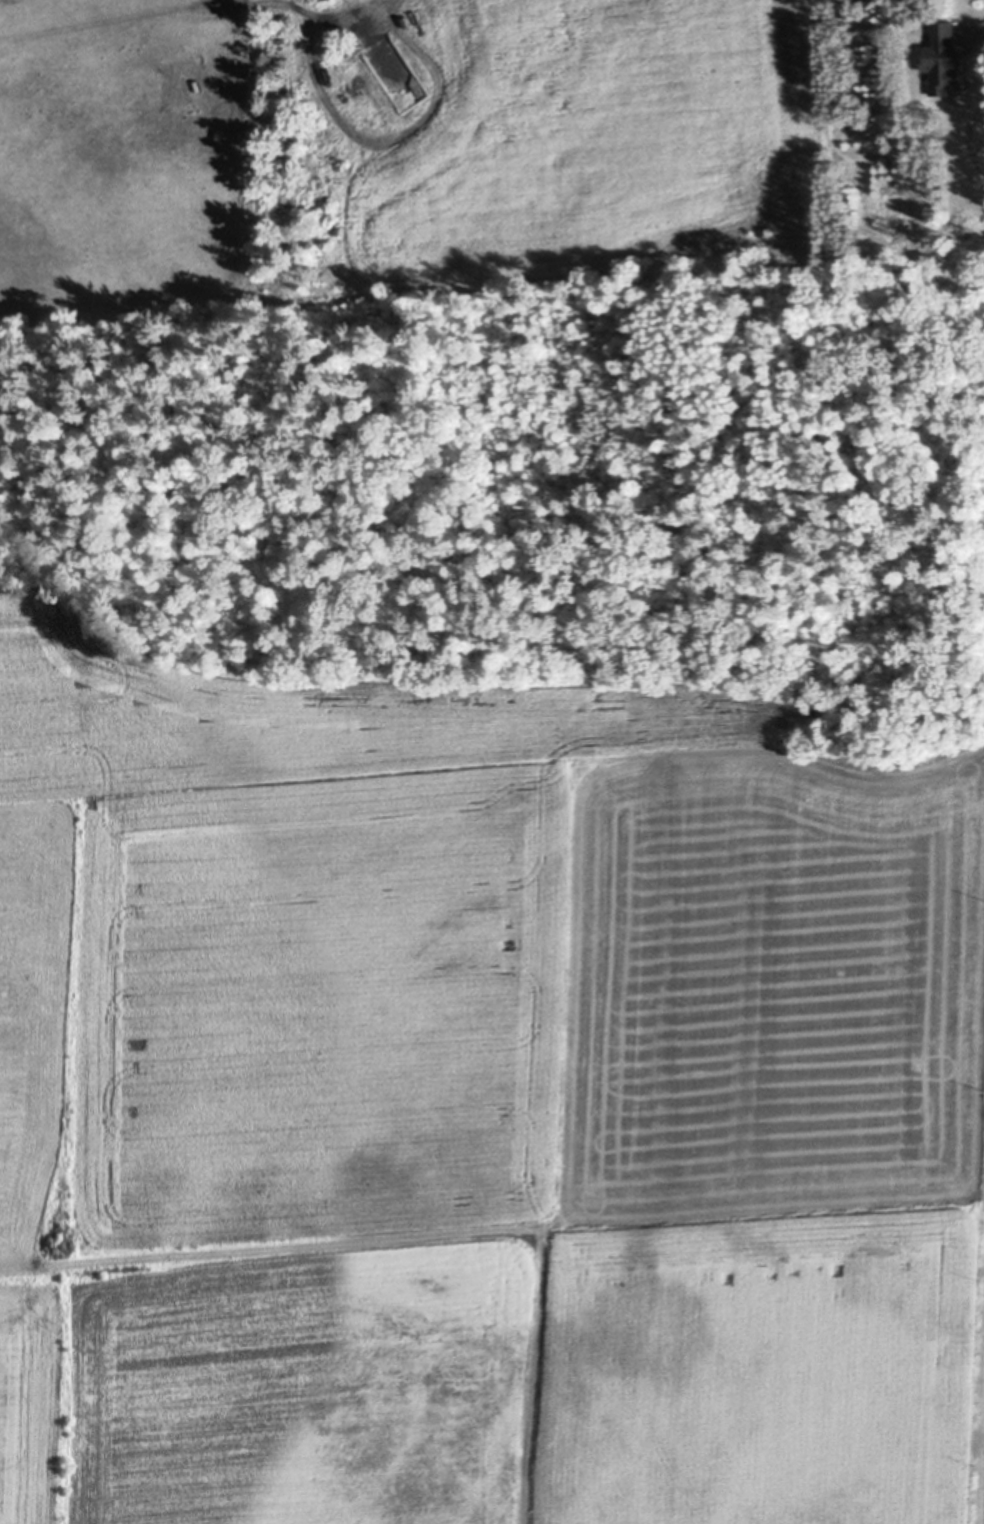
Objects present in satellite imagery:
building: (849, 13)
building: (942, 61)
crop: (477, 1102)

